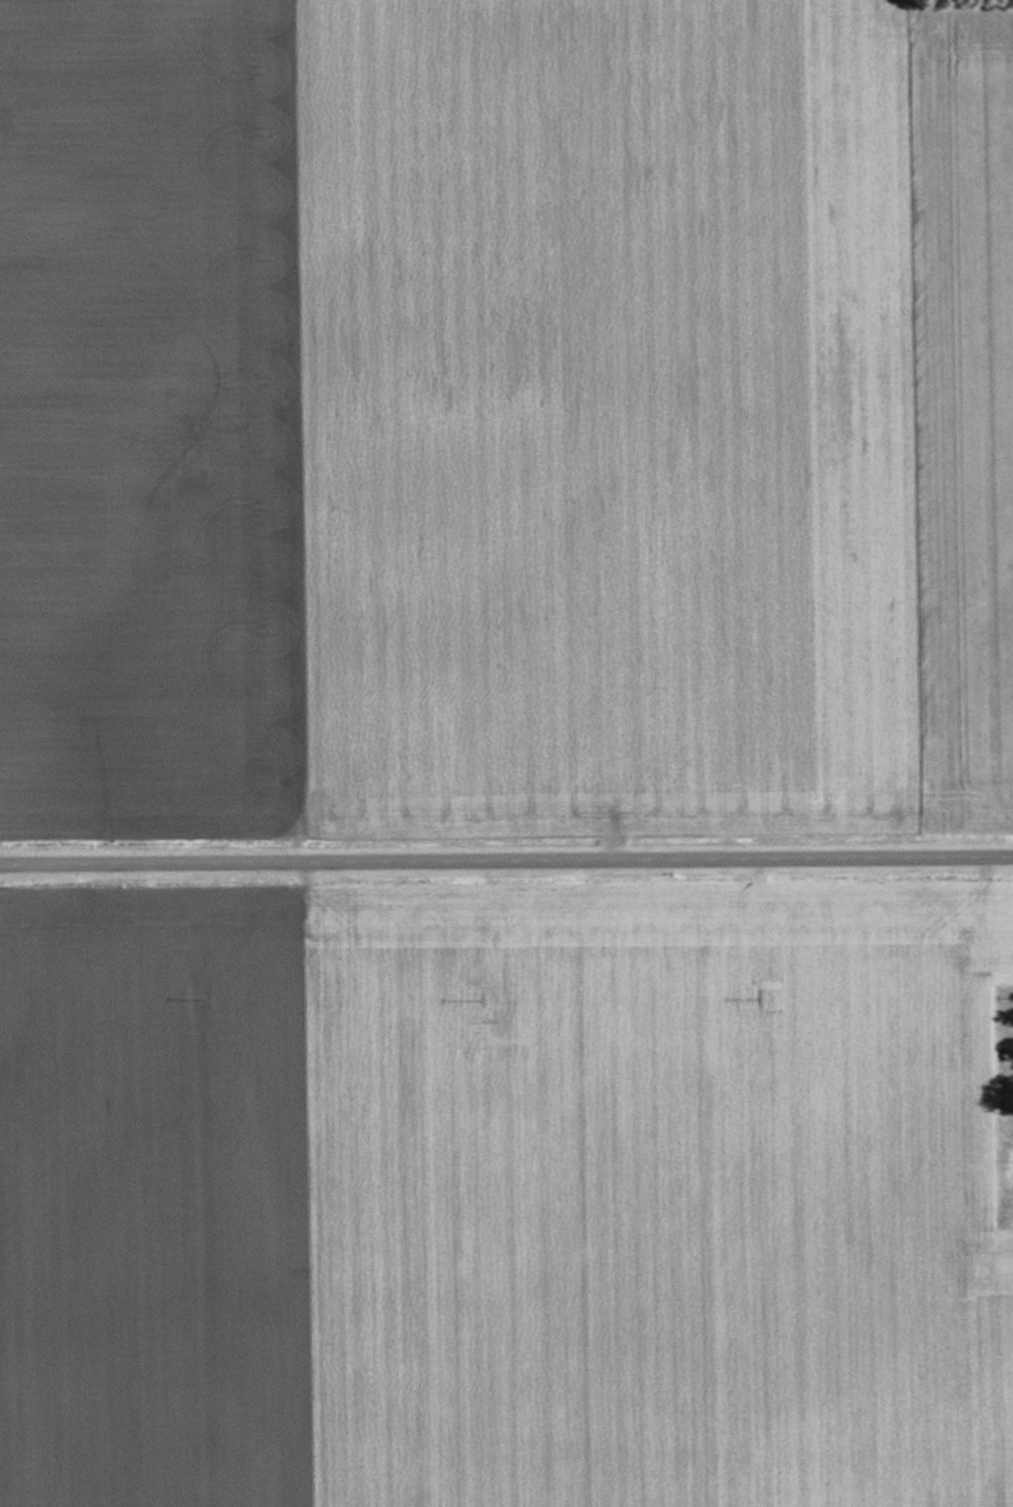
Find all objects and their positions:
road: (506, 855)

